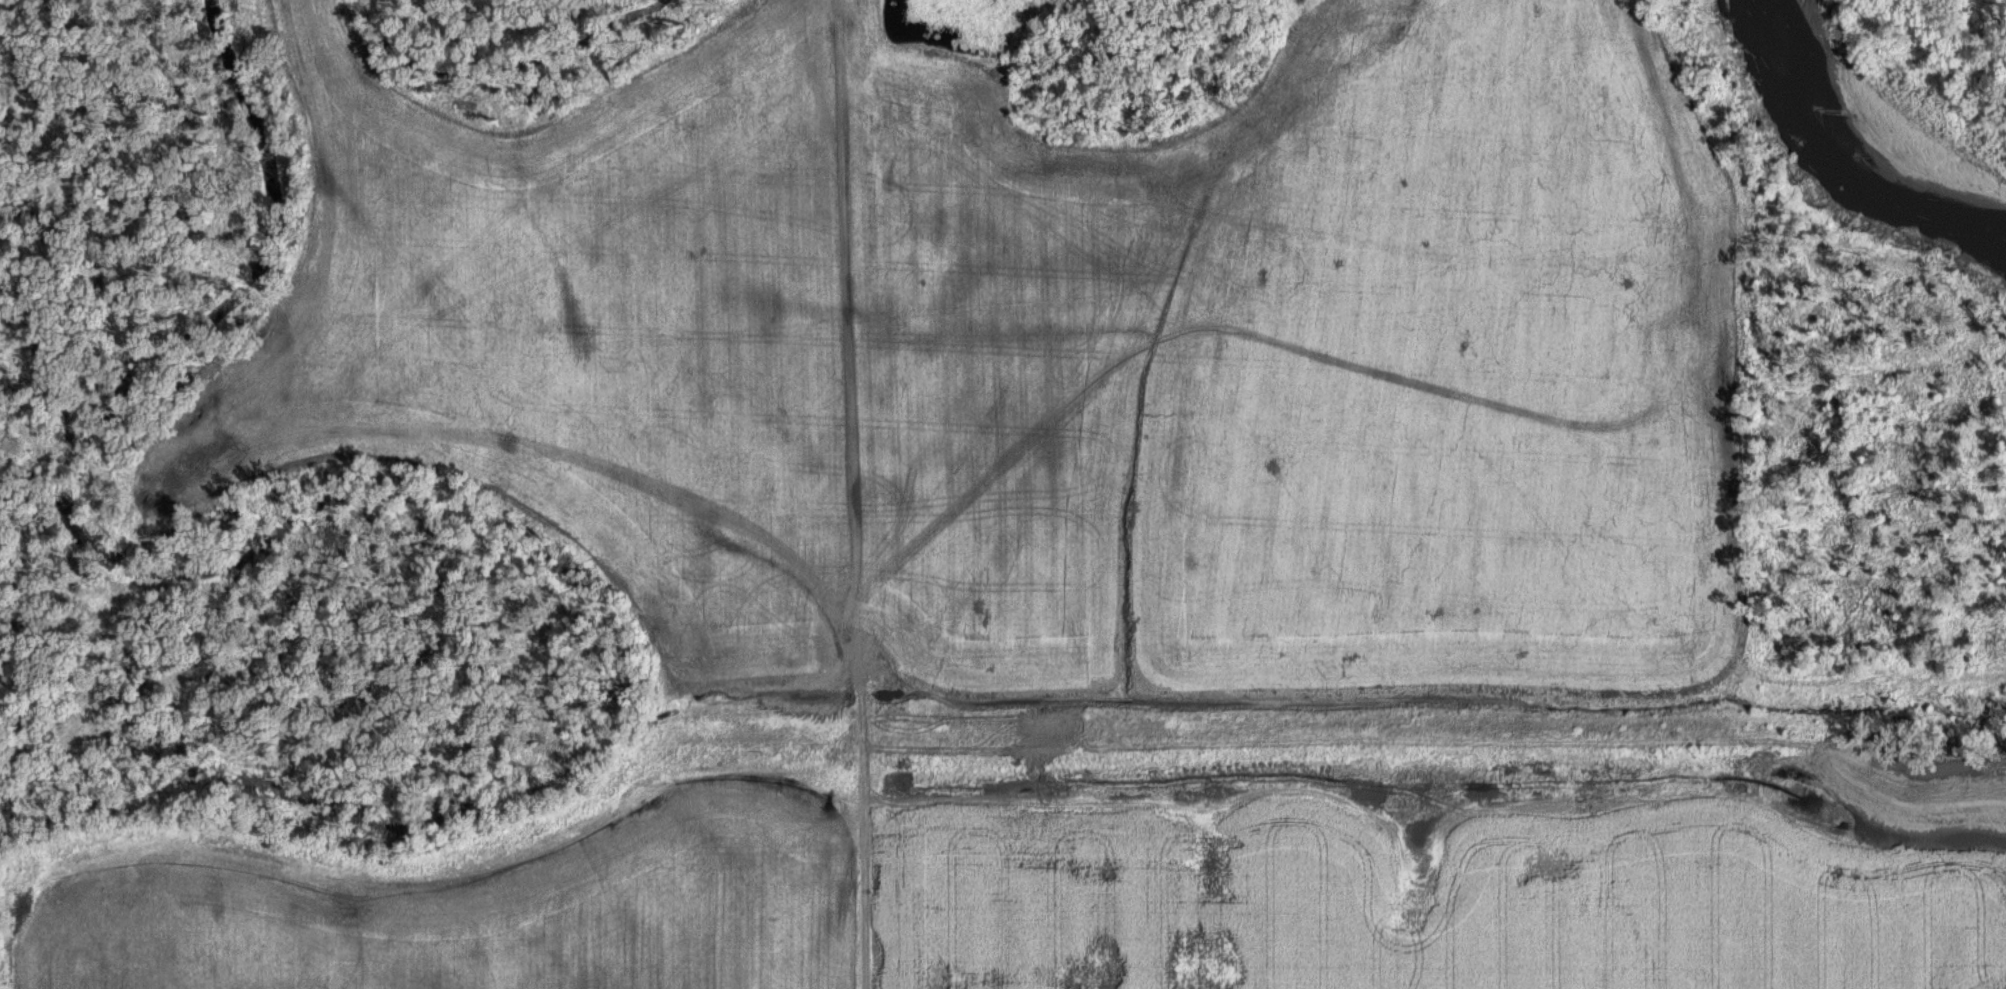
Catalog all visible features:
river: (1856, 133)

